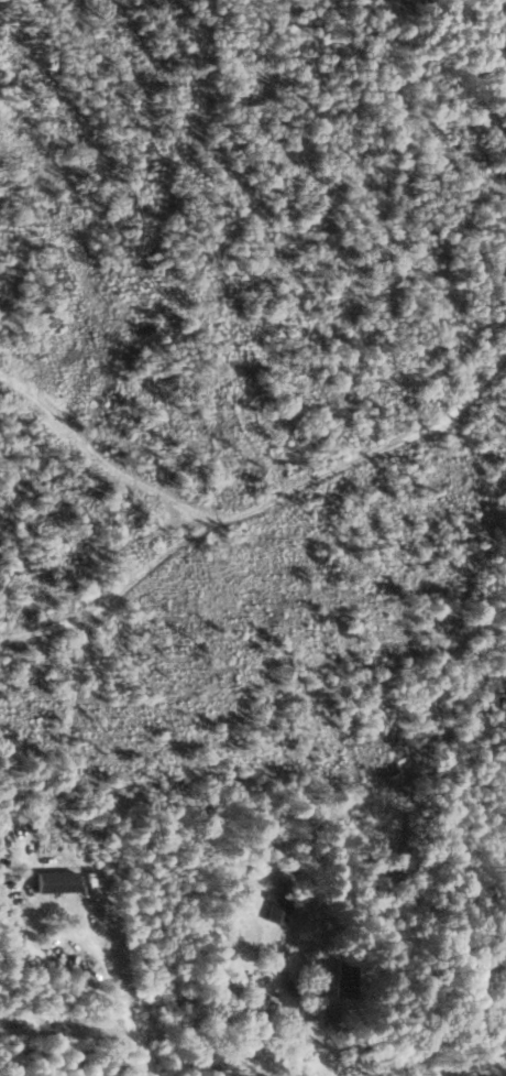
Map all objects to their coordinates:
building: (57, 881)
building: (277, 909)
road: (308, 960)
road: (120, 997)
building: (267, 1006)
road: (483, 1065)

